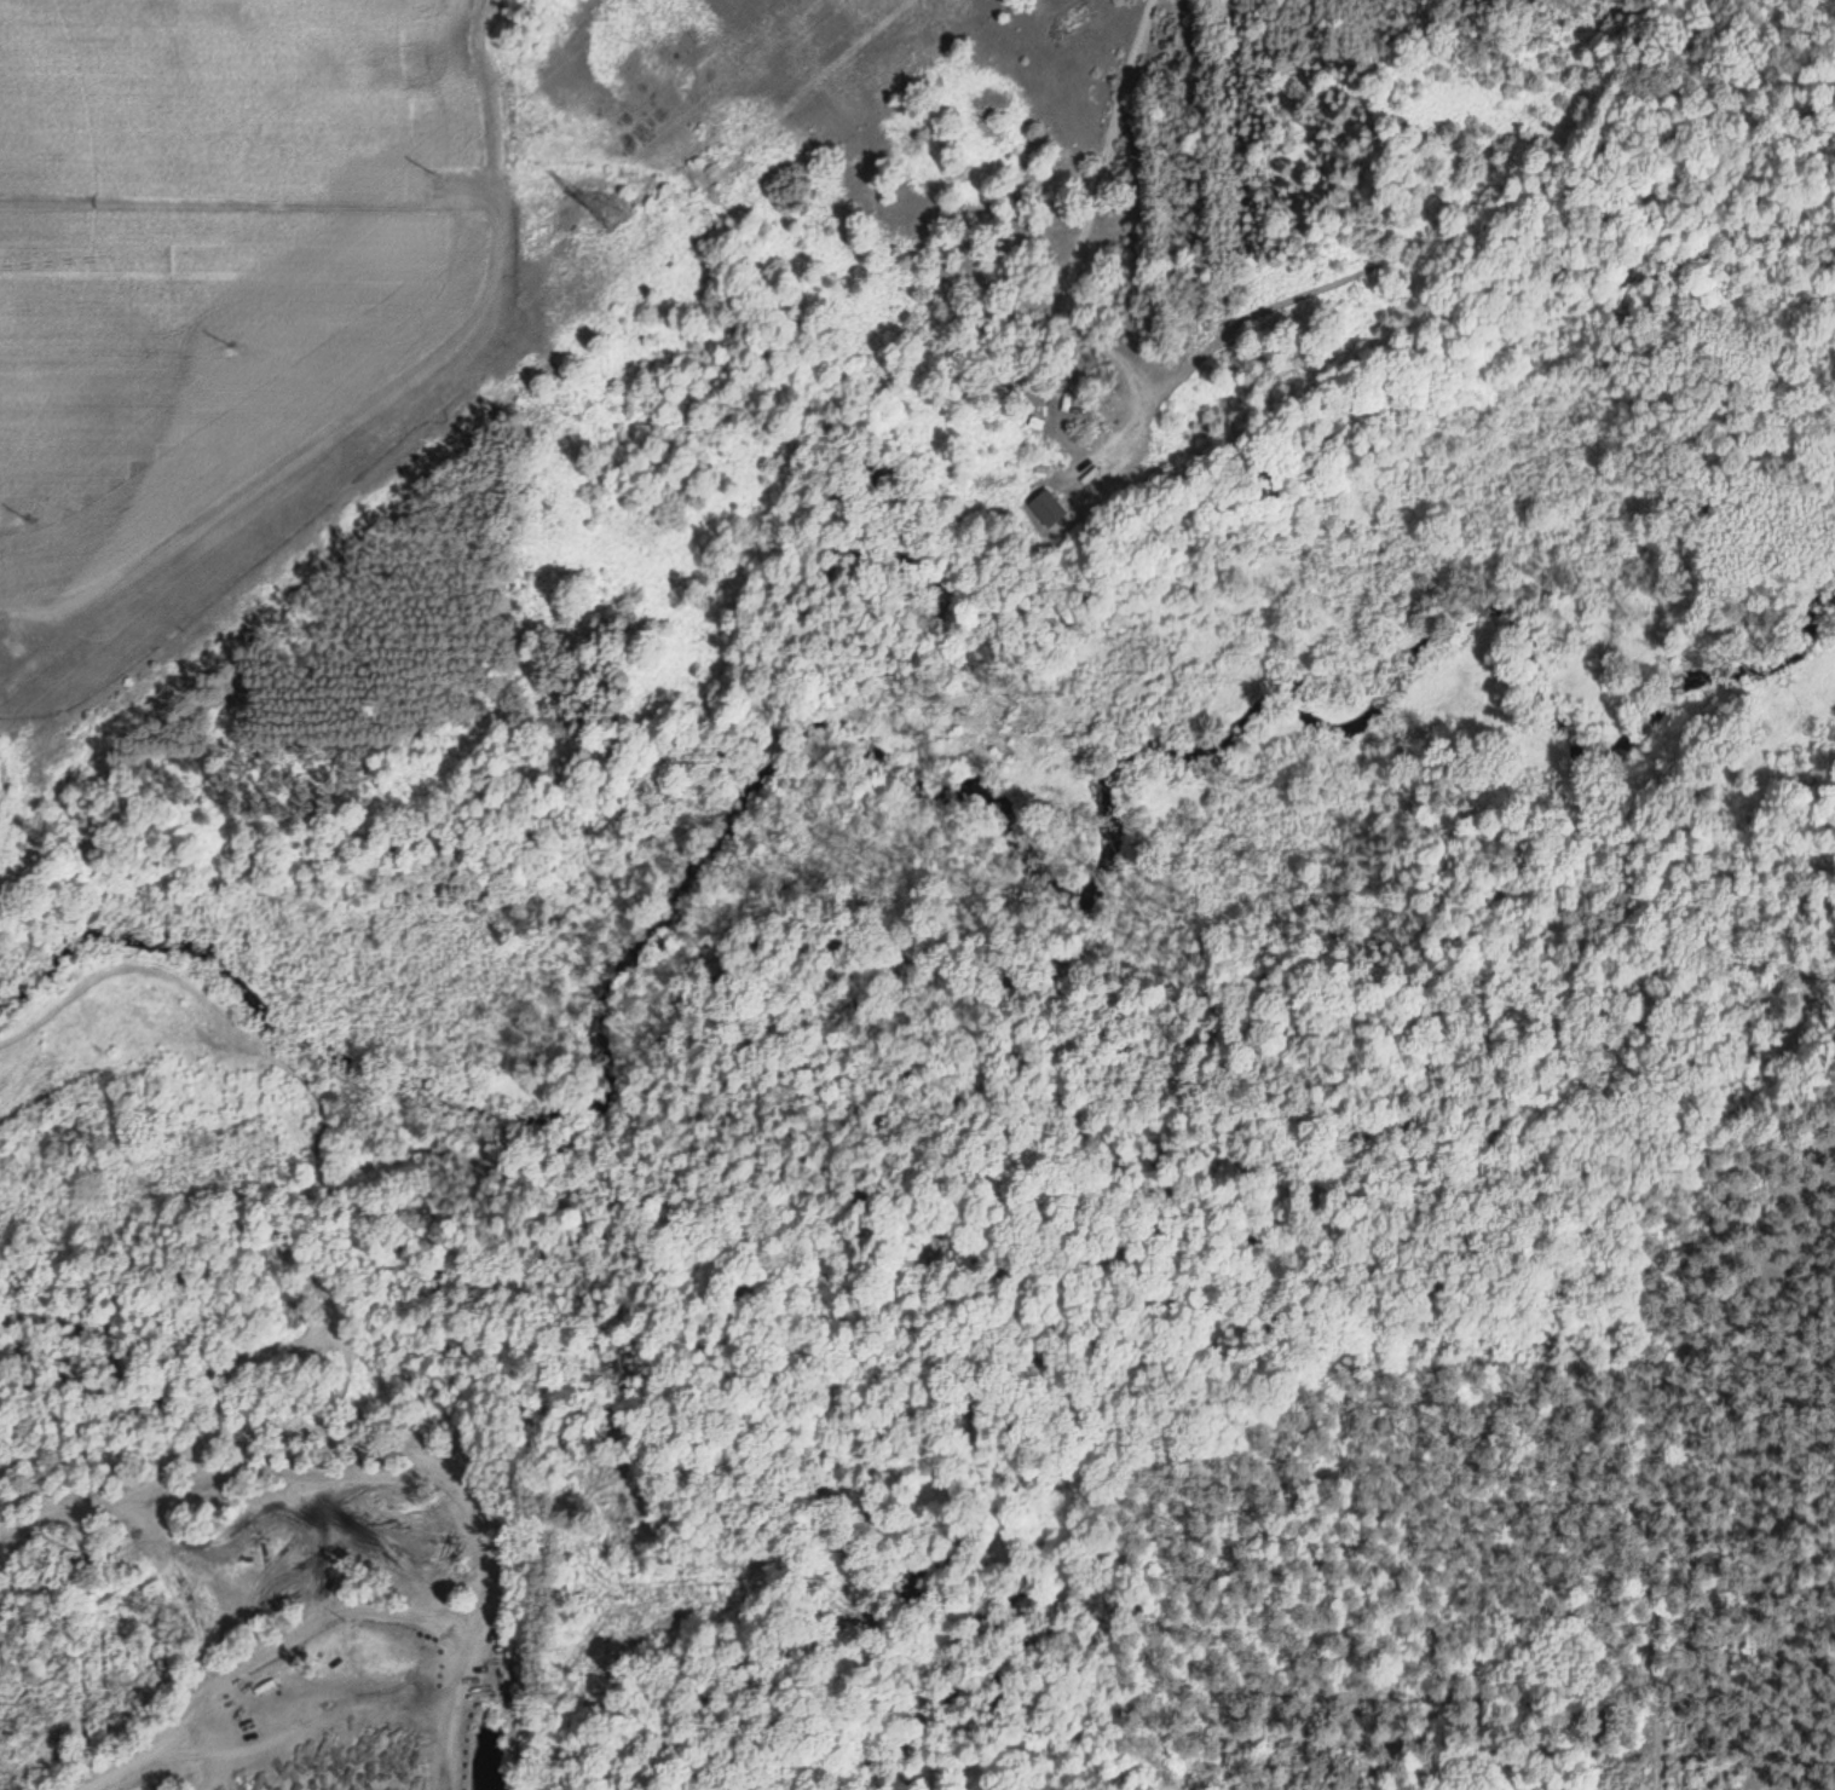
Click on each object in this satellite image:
power tower: (605, 209)
building: (1043, 233)

